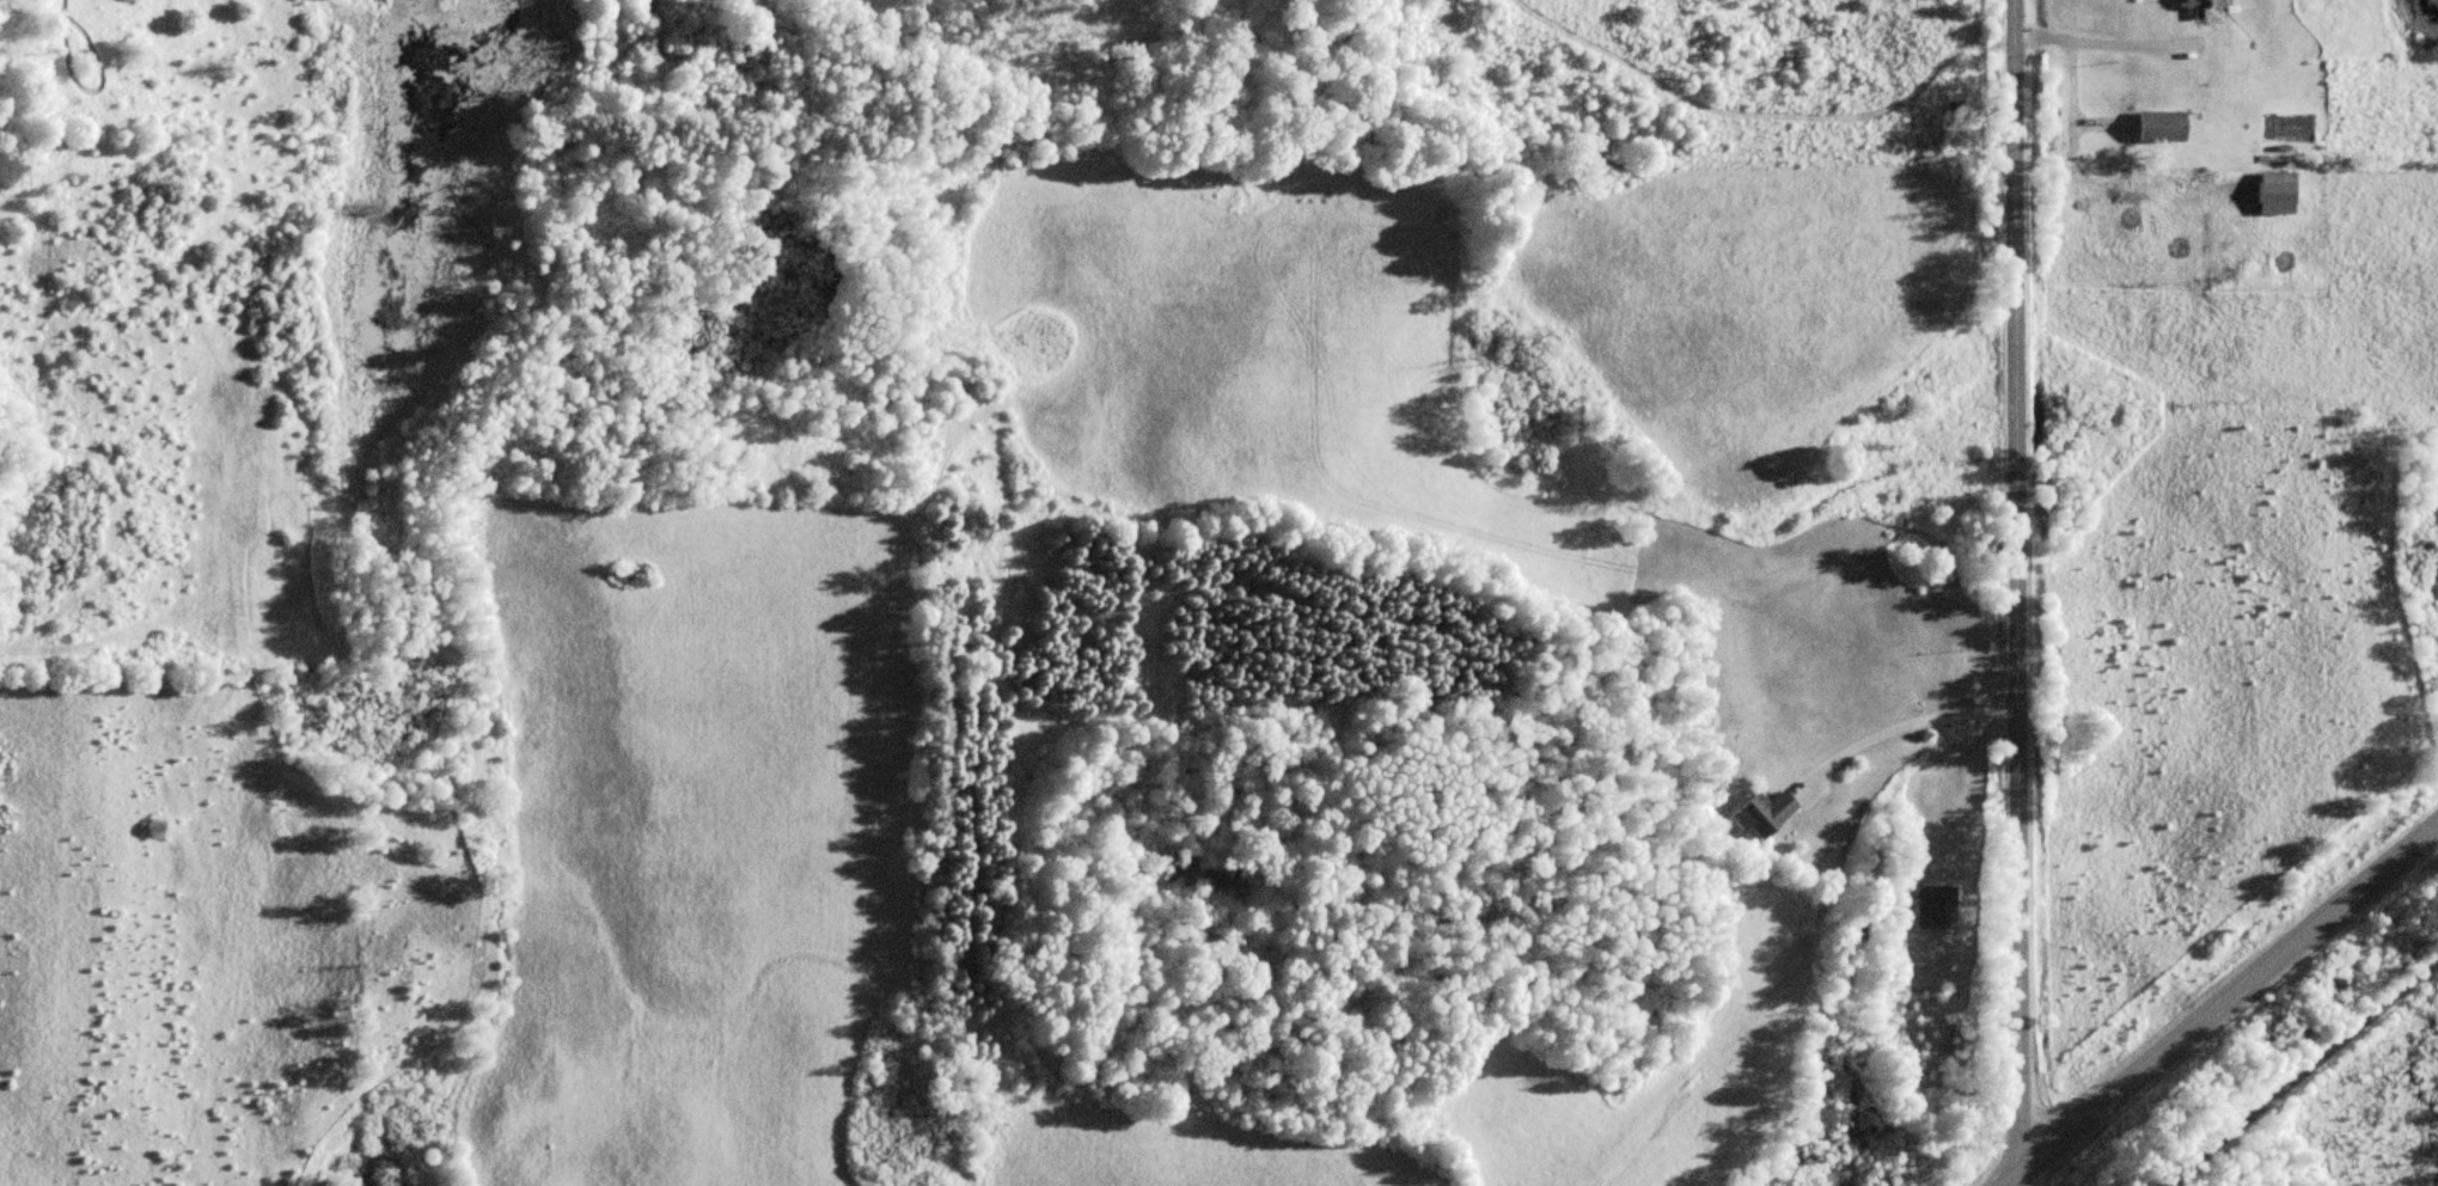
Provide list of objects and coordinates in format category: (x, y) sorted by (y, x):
building: (2204, 7)
building: (2164, 127)
building: (2280, 192)
road: (2020, 587)
building: (1764, 814)
building: (1937, 906)
road: (2223, 1003)
road: (2305, 1076)

